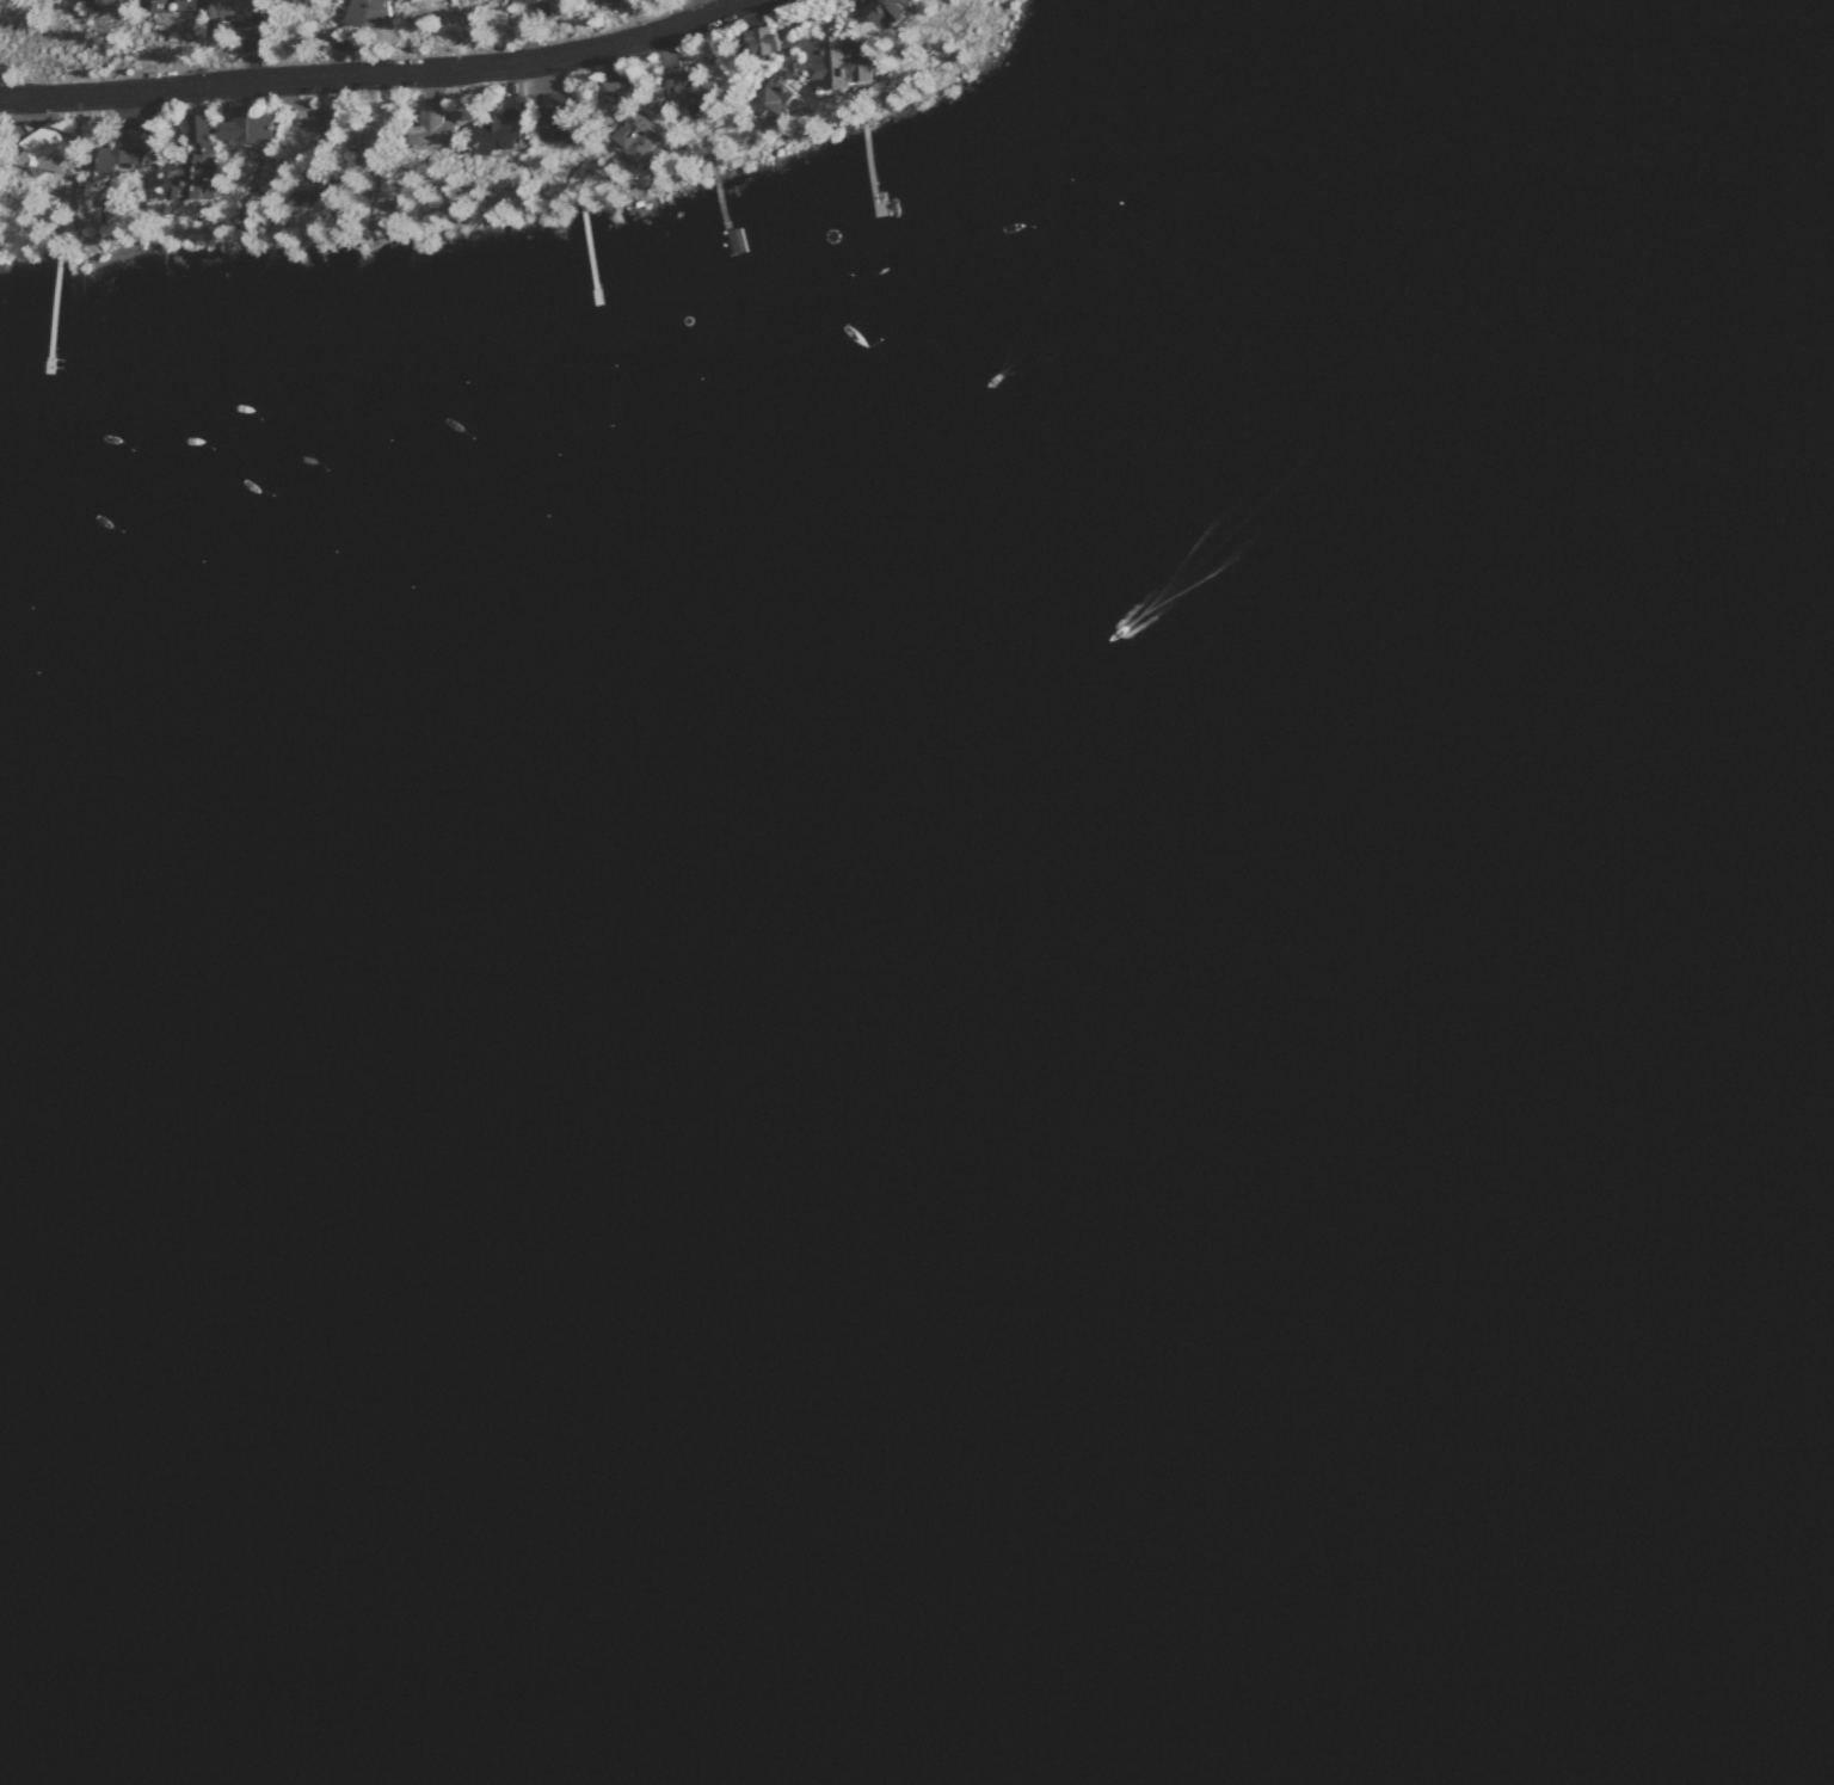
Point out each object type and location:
building: (609, 0)
building: (180, 1)
building: (113, 5)
road: (726, 5)
building: (240, 8)
building: (876, 11)
building: (367, 12)
building: (226, 27)
building: (799, 66)
road: (381, 72)
building: (549, 116)
building: (254, 125)
building: (441, 127)
building: (498, 136)
building: (635, 136)
building: (129, 149)
building: (196, 165)
pier: (864, 167)
building: (319, 187)
pier: (721, 205)
pier: (581, 250)
pier: (47, 314)

